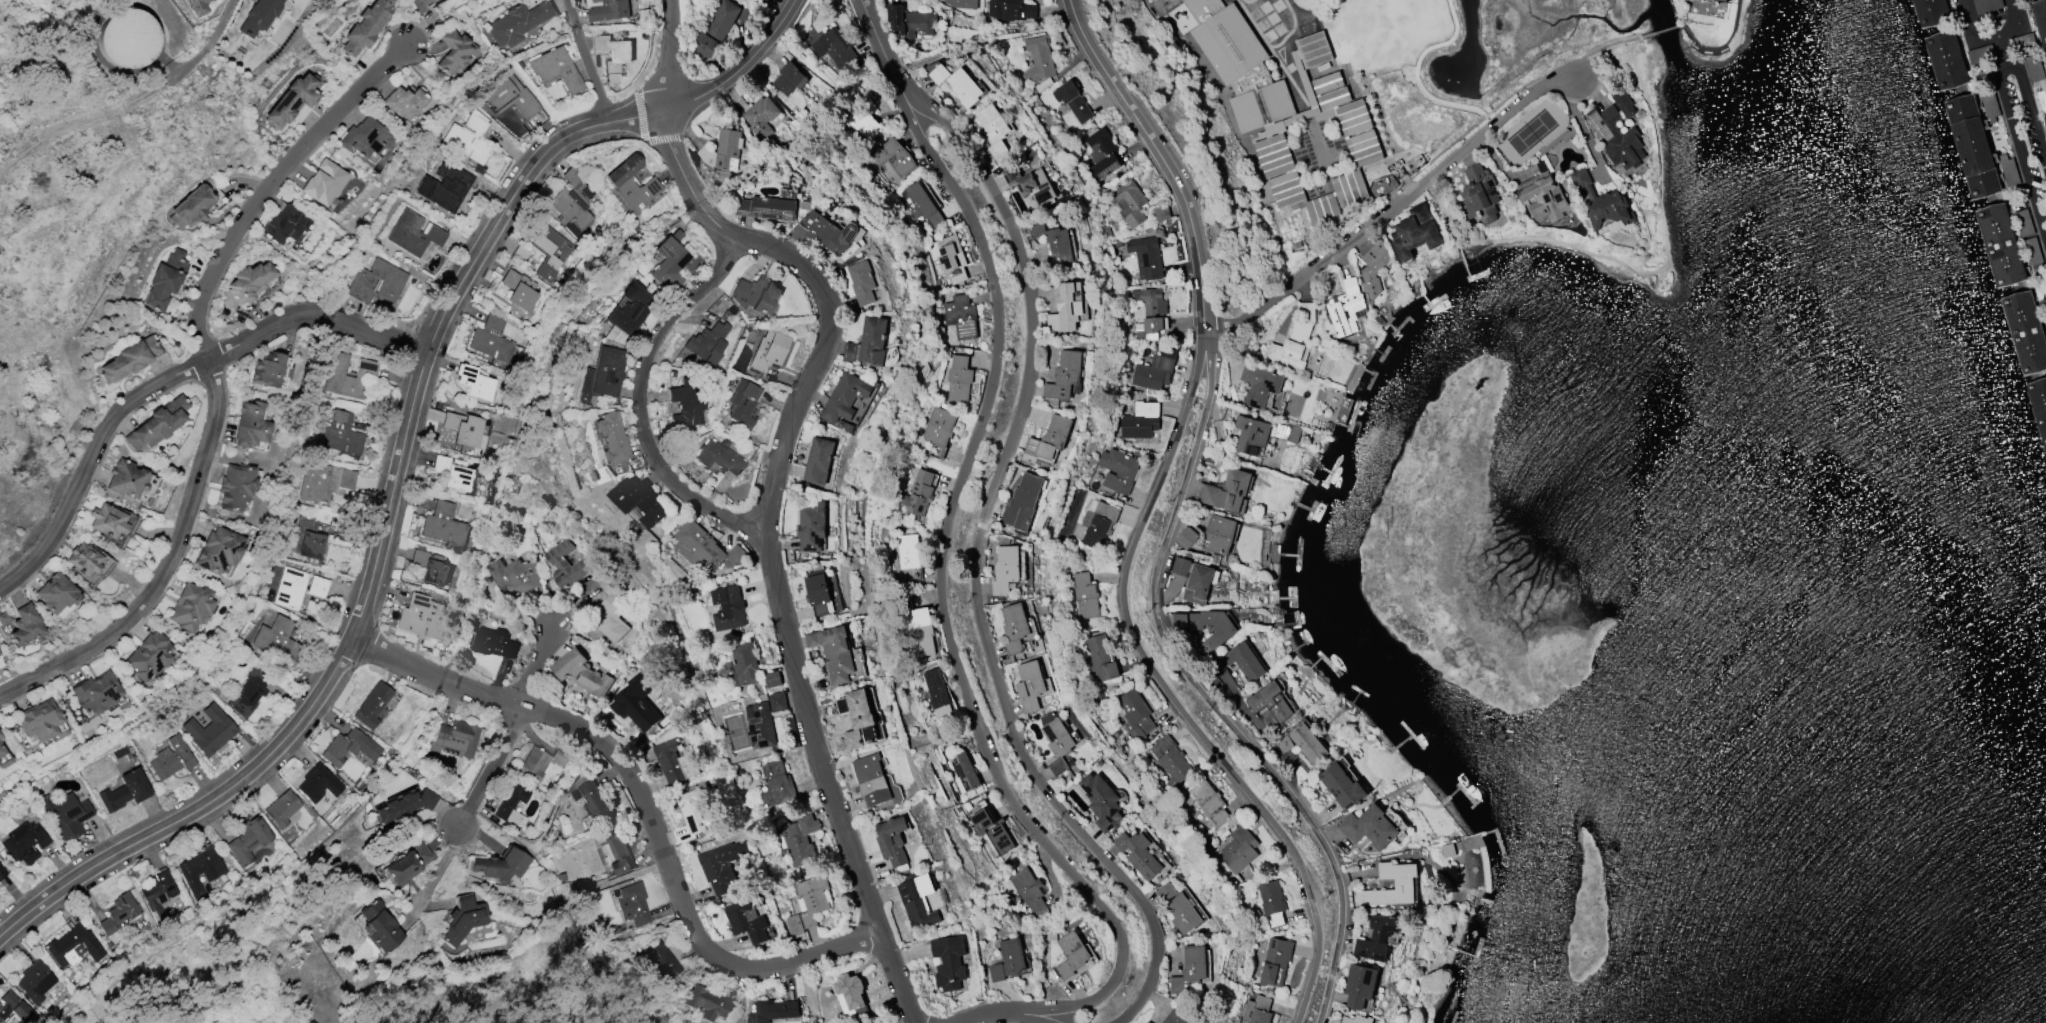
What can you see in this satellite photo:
building: (1726, 0)
building: (961, 3)
building: (425, 4)
building: (1988, 4)
building: (195, 8)
building: (1010, 8)
building: (1931, 9)
building: (609, 10)
pier: (1926, 11)
building: (258, 16)
building: (2040, 18)
building: (914, 22)
building: (519, 23)
building: (366, 26)
track: (1255, 26)
building: (716, 28)
track: (1291, 29)
road: (1660, 32)
building: (128, 39)
road: (1988, 39)
road: (189, 44)
road: (881, 44)
road: (1721, 47)
building: (1314, 49)
building: (840, 50)
road: (1605, 50)
building: (454, 51)
building: (615, 51)
building: (1946, 56)
pier: (1940, 58)
building: (1039, 59)
road: (587, 64)
building: (1239, 64)
building: (2034, 67)
building: (557, 69)
building: (792, 77)
road: (1416, 77)
building: (957, 82)
road: (2027, 96)
building: (511, 97)
building: (2042, 98)
building: (1075, 100)
building: (291, 101)
building: (403, 102)
building: (1624, 102)
building: (761, 115)
building: (865, 123)
road: (1584, 127)
road: (77, 128)
building: (994, 129)
building: (364, 137)
building: (1618, 137)
road: (2015, 137)
building: (469, 138)
pier: (1964, 143)
building: (1972, 143)
building: (728, 148)
building: (1272, 150)
building: (1102, 155)
building: (893, 156)
road: (1161, 159)
building: (324, 183)
building: (1028, 183)
building: (633, 185)
building: (440, 188)
building: (1480, 194)
building: (1544, 198)
building: (1603, 201)
building: (1130, 202)
building: (925, 204)
road: (1392, 204)
building: (190, 206)
building: (767, 207)
building: (574, 209)
building: (283, 224)
building: (822, 233)
building: (1415, 233)
building: (414, 234)
building: (1055, 240)
building: (2001, 241)
building: (1295, 244)
pier: (1993, 244)
building: (2032, 250)
building: (552, 253)
building: (953, 256)
building: (1147, 256)
building: (669, 264)
building: (1373, 268)
road: (1641, 273)
building: (165, 279)
building: (863, 281)
building: (248, 284)
building: (380, 285)
building: (521, 290)
road: (1668, 294)
building: (755, 296)
building: (1345, 307)
building: (1067, 308)
building: (1151, 312)
building: (631, 314)
building: (962, 316)
building: (2026, 327)
pier: (2016, 328)
building: (1296, 338)
building: (493, 340)
building: (707, 341)
building: (869, 342)
building: (770, 352)
building: (128, 360)
building: (267, 370)
building: (1156, 370)
building: (608, 371)
building: (1066, 374)
building: (348, 376)
building: (960, 378)
road: (215, 380)
road: (170, 382)
building: (474, 382)
building: (1260, 384)
building: (846, 397)
building: (2039, 402)
building: (1272, 403)
road: (643, 404)
building: (744, 404)
pier: (2037, 407)
building: (686, 408)
building: (434, 415)
building: (1141, 419)
building: (156, 424)
building: (250, 425)
building: (464, 429)
building: (940, 431)
building: (1291, 433)
building: (340, 434)
building: (1251, 436)
building: (1052, 437)
building: (613, 438)
building: (720, 457)
building: (820, 460)
road: (397, 467)
building: (1119, 469)
building: (453, 473)
building: (126, 479)
road: (776, 479)
building: (325, 481)
building: (235, 487)
building: (1229, 490)
building: (917, 494)
building: (641, 499)
building: (1023, 502)
building: (106, 521)
building: (1099, 522)
building: (444, 524)
building: (811, 528)
building: (1219, 534)
building: (1187, 537)
building: (308, 538)
building: (700, 544)
building: (219, 550)
building: (910, 554)
building: (84, 559)
road: (979, 560)
building: (567, 563)
building: (431, 567)
building: (1006, 568)
building: (518, 576)
building: (1197, 577)
road: (946, 585)
building: (297, 587)
building: (820, 593)
building: (55, 594)
building: (1086, 595)
building: (192, 606)
building: (729, 607)
building: (421, 617)
building: (5, 618)
building: (613, 619)
building: (24, 625)
building: (1015, 627)
building: (920, 633)
building: (1216, 638)
building: (277, 639)
building: (493, 643)
building: (834, 651)
building: (151, 655)
building: (1101, 658)
building: (1242, 660)
building: (746, 663)
road: (539, 669)
building: (583, 673)
building: (773, 678)
building: (1031, 685)
building: (98, 692)
building: (248, 692)
building: (937, 692)
road: (1169, 692)
road: (1207, 692)
building: (1269, 700)
building: (778, 701)
building: (372, 705)
building: (1136, 710)
building: (635, 711)
building: (861, 718)
building: (42, 720)
building: (761, 725)
building: (209, 730)
building: (1, 738)
building: (457, 738)
building: (1309, 743)
building: (1059, 744)
building: (351, 747)
building: (4, 758)
building: (171, 758)
building: (1171, 760)
building: (541, 762)
building: (675, 762)
road: (489, 770)
building: (964, 772)
building: (873, 779)
building: (318, 784)
building: (778, 784)
building: (1342, 784)
building: (125, 791)
building: (594, 801)
building: (1103, 801)
building: (1209, 802)
road: (645, 803)
building: (512, 805)
building: (404, 806)
building: (281, 808)
building: (692, 810)
building: (65, 814)
building: (1370, 826)
building: (994, 831)
building: (246, 839)
building: (893, 840)
building: (25, 843)
building: (798, 843)
building: (1239, 849)
building: (616, 852)
building: (1140, 854)
building: (406, 864)
building: (722, 864)
building: (501, 865)
building: (198, 870)
building: (2, 872)
road: (440, 873)
building: (1404, 884)
building: (1030, 889)
building: (155, 893)
building: (813, 898)
building: (1273, 903)
building: (633, 904)
building: (919, 904)
building: (118, 914)
building: (1183, 914)
building: (463, 919)
building: (746, 920)
building: (380, 927)
building: (1378, 936)
building: (74, 947)
building: (1072, 953)
building: (664, 959)
building: (948, 960)
building: (1009, 960)
building: (1276, 962)
building: (1191, 969)
building: (36, 981)
building: (1360, 985)
building: (852, 997)
building: (711, 1003)
building: (13, 1008)
building: (777, 1009)
building: (1258, 1010)
road: (1010, 1015)
building: (1175, 1017)
building: (1358, 1019)
road: (1053, 1020)
building: (1148, 1022)

